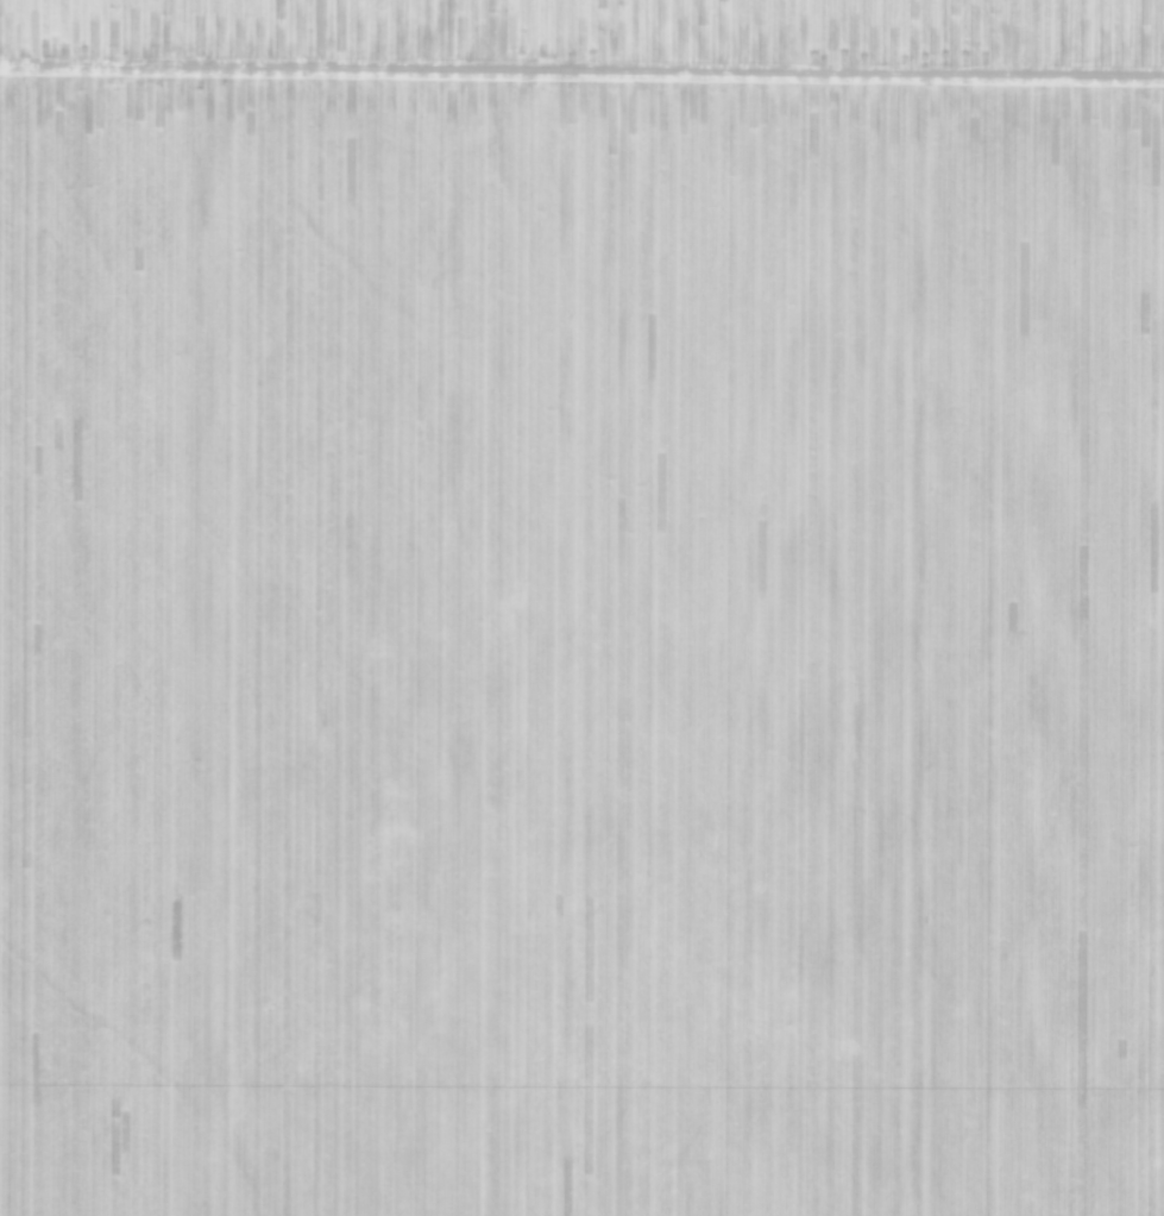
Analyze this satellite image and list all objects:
road: (581, 73)

